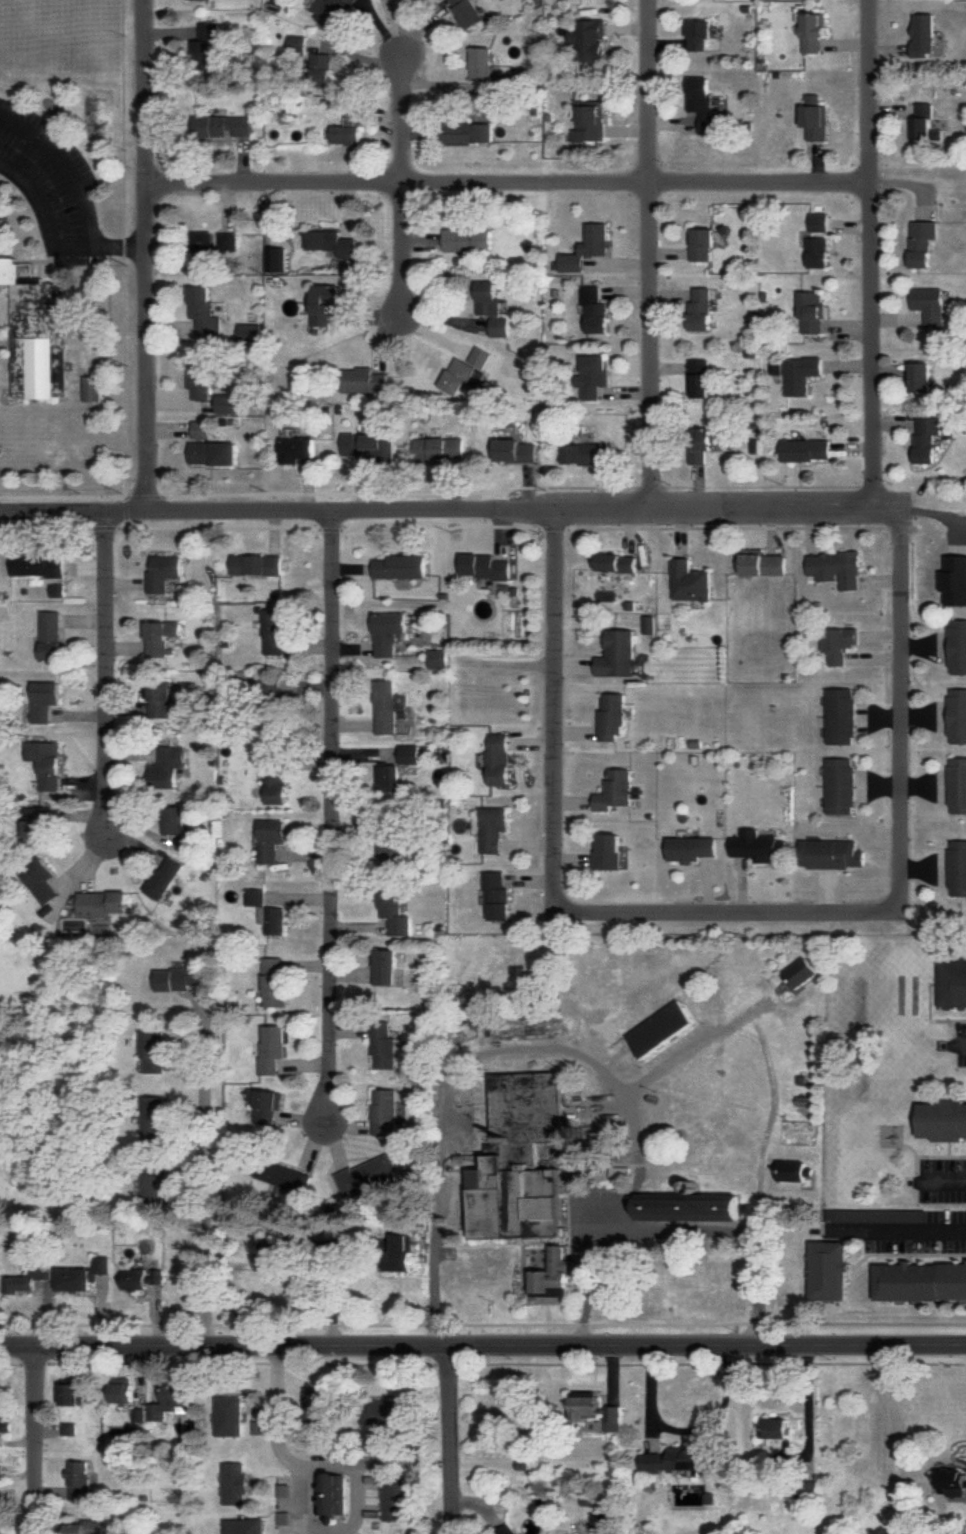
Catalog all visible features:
building: (332, 11)
building: (466, 13)
building: (814, 31)
building: (923, 34)
building: (700, 35)
building: (588, 39)
building: (297, 44)
building: (205, 45)
building: (481, 63)
building: (321, 69)
building: (704, 104)
building: (816, 118)
road: (404, 120)
building: (591, 121)
building: (923, 123)
building: (223, 126)
building: (347, 132)
building: (467, 132)
road: (65, 168)
road: (511, 184)
building: (819, 222)
building: (1, 227)
road: (52, 240)
building: (468, 240)
building: (204, 242)
building: (227, 242)
building: (331, 242)
building: (922, 242)
building: (703, 244)
building: (587, 247)
road: (403, 249)
road: (654, 252)
building: (818, 252)
road: (875, 253)
road: (148, 256)
building: (277, 259)
building: (324, 303)
building: (931, 306)
building: (492, 308)
building: (701, 309)
building: (203, 310)
building: (595, 311)
building: (812, 312)
building: (37, 333)
building: (251, 333)
building: (480, 357)
building: (200, 374)
building: (801, 374)
building: (461, 376)
building: (593, 376)
building: (920, 377)
building: (701, 378)
building: (364, 381)
building: (92, 388)
building: (228, 403)
building: (201, 429)
building: (926, 438)
building: (700, 444)
building: (371, 446)
building: (439, 448)
building: (297, 449)
building: (805, 449)
building: (515, 451)
building: (213, 453)
building: (585, 454)
road: (450, 509)
building: (616, 563)
building: (761, 563)
building: (35, 564)
building: (255, 564)
building: (399, 566)
building: (484, 566)
building: (835, 568)
building: (163, 572)
building: (954, 580)
building: (689, 581)
building: (57, 590)
building: (273, 631)
building: (386, 632)
building: (50, 636)
building: (160, 637)
building: (838, 643)
building: (957, 646)
building: (617, 654)
building: (437, 658)
road: (108, 672)
building: (269, 688)
building: (160, 699)
building: (43, 700)
building: (384, 707)
road: (557, 710)
road: (900, 715)
building: (840, 716)
building: (957, 716)
building: (611, 718)
building: (408, 754)
building: (497, 759)
building: (45, 762)
building: (166, 766)
building: (274, 775)
building: (387, 778)
building: (840, 785)
building: (957, 785)
building: (614, 790)
road: (329, 812)
building: (37, 822)
building: (176, 826)
building: (492, 828)
building: (269, 839)
building: (758, 847)
building: (690, 848)
building: (607, 852)
building: (388, 853)
building: (831, 854)
building: (957, 868)
building: (163, 877)
building: (40, 880)
building: (255, 896)
building: (496, 897)
building: (101, 903)
building: (392, 910)
road: (723, 913)
building: (272, 919)
building: (384, 967)
building: (798, 975)
building: (180, 978)
building: (273, 981)
building: (951, 983)
building: (666, 1022)
building: (382, 1043)
road: (961, 1045)
building: (271, 1049)
road: (485, 1050)
building: (153, 1051)
road: (772, 1059)
building: (802, 1103)
building: (263, 1105)
building: (385, 1112)
building: (154, 1118)
building: (943, 1120)
building: (515, 1160)
road: (206, 1170)
building: (788, 1172)
building: (368, 1174)
building: (284, 1176)
road: (950, 1179)
building: (154, 1185)
road: (147, 1203)
building: (683, 1209)
building: (877, 1215)
parking lot: (611, 1226)
road: (912, 1231)
road: (722, 1240)
road: (547, 1242)
building: (403, 1252)
building: (273, 1255)
building: (831, 1270)
building: (84, 1275)
building: (142, 1278)
building: (548, 1278)
building: (27, 1279)
building: (921, 1281)
road: (584, 1295)
road: (482, 1348)
building: (124, 1389)
building: (74, 1393)
building: (172, 1401)
building: (585, 1404)
building: (319, 1405)
building: (383, 1412)
building: (141, 1414)
building: (230, 1416)
building: (612, 1417)
building: (4, 1422)
building: (70, 1428)
building: (778, 1428)
road: (36, 1441)
road: (456, 1441)
building: (677, 1459)
building: (1, 1472)
building: (79, 1480)
building: (953, 1482)
building: (235, 1483)
building: (332, 1493)
building: (395, 1499)
road: (300, 1516)
building: (245, 1526)
building: (88, 1527)
building: (505, 1530)

